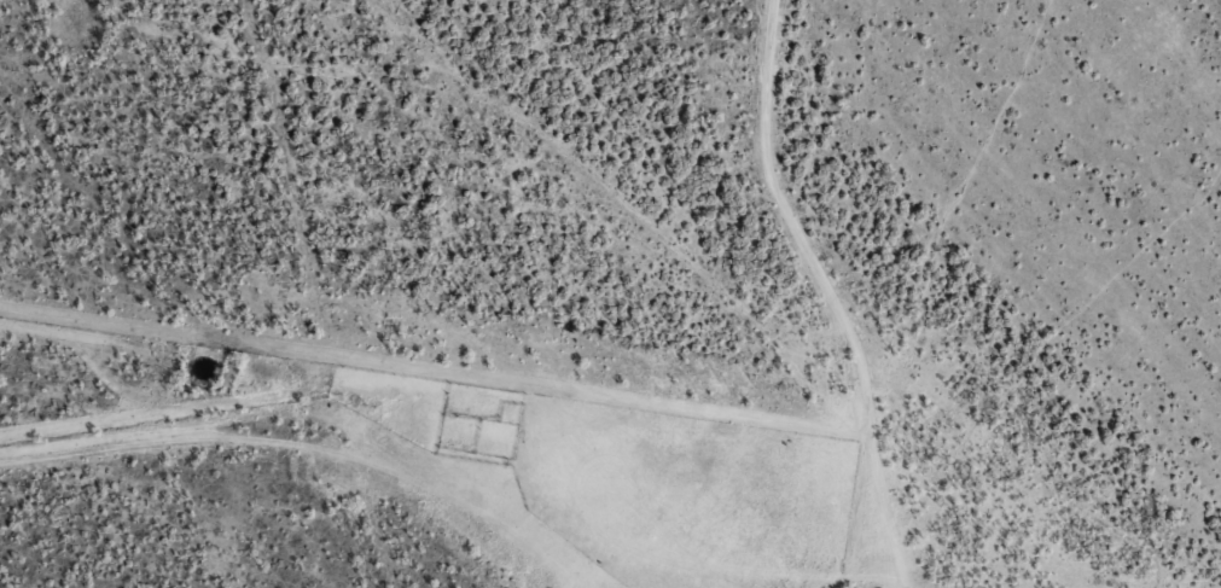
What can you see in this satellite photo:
road: (866, 296)

